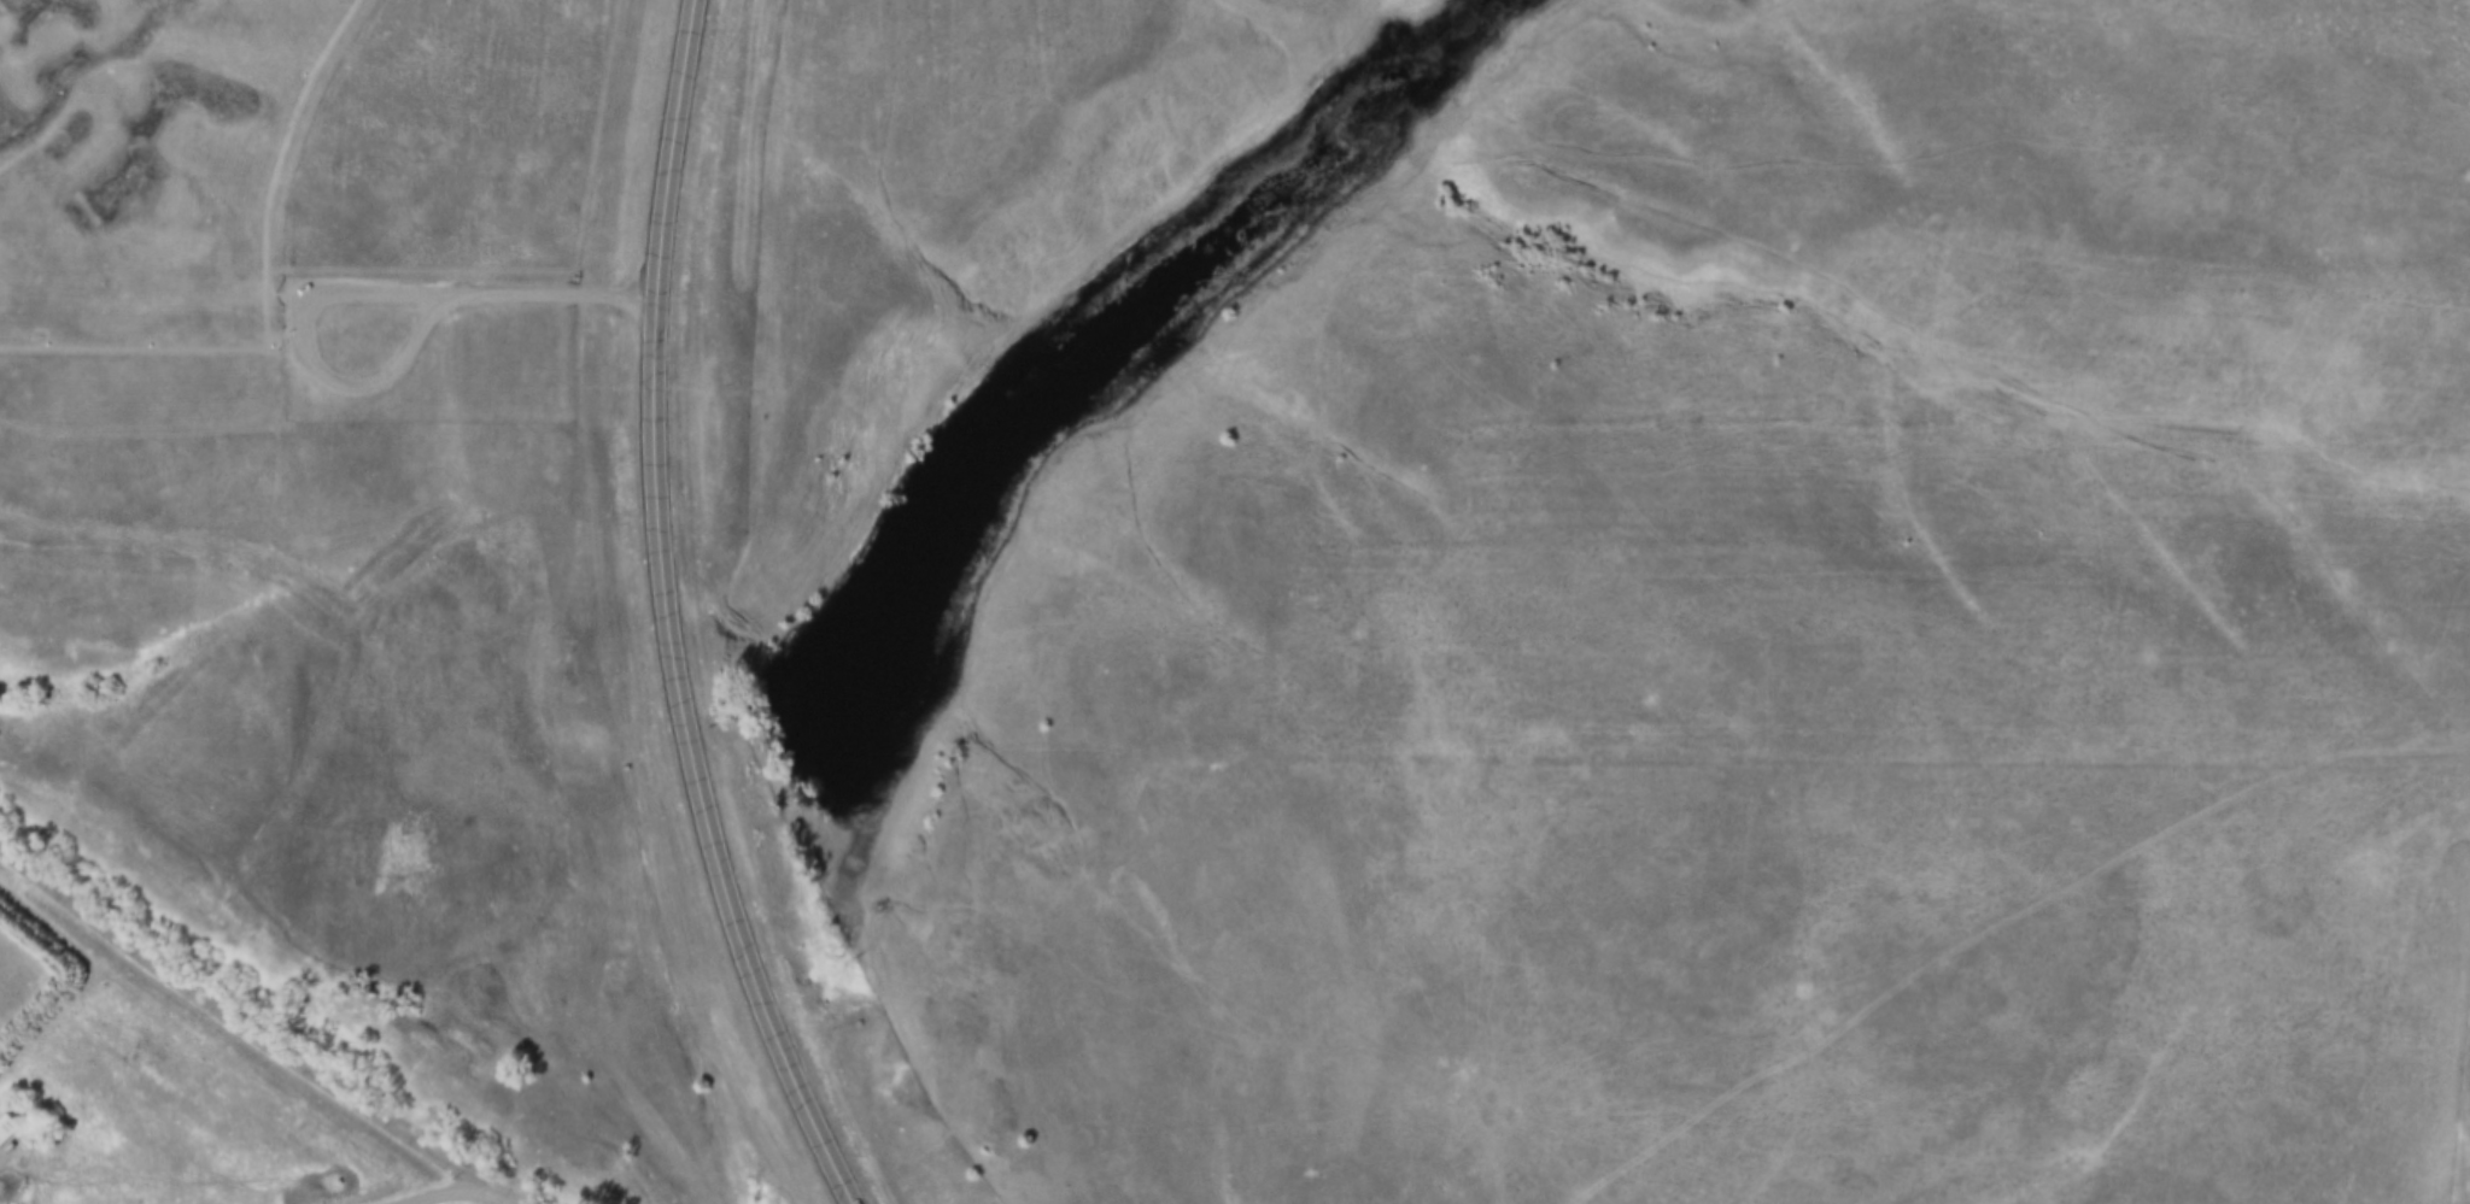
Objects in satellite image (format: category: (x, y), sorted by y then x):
road: (308, 112)
road: (427, 296)
road: (156, 348)
road: (368, 388)
road: (668, 615)
road: (239, 1046)
road: (463, 1197)

